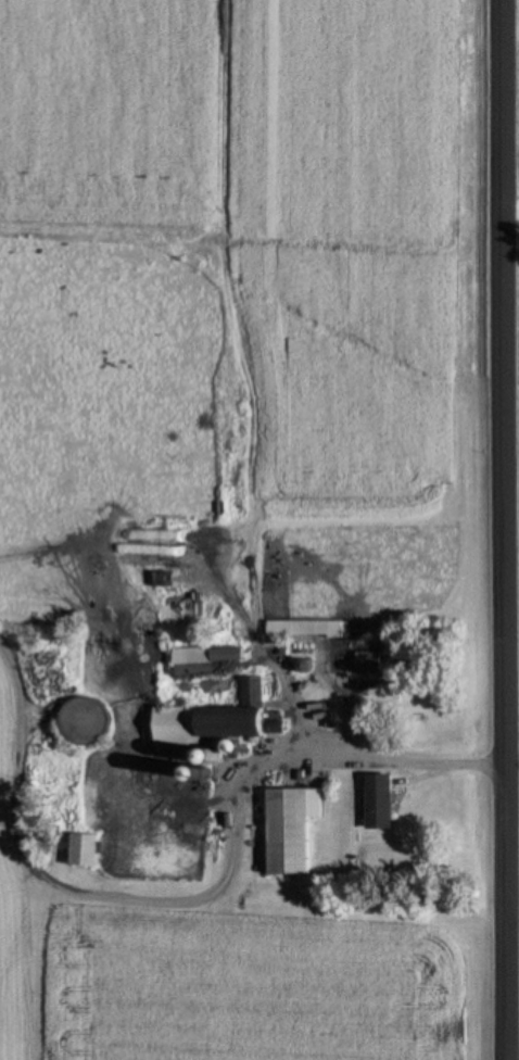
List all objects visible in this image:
road: (495, 530)
building: (296, 628)
building: (206, 656)
building: (368, 662)
building: (211, 719)
building: (228, 748)
building: (378, 803)
building: (290, 830)
building: (84, 850)

